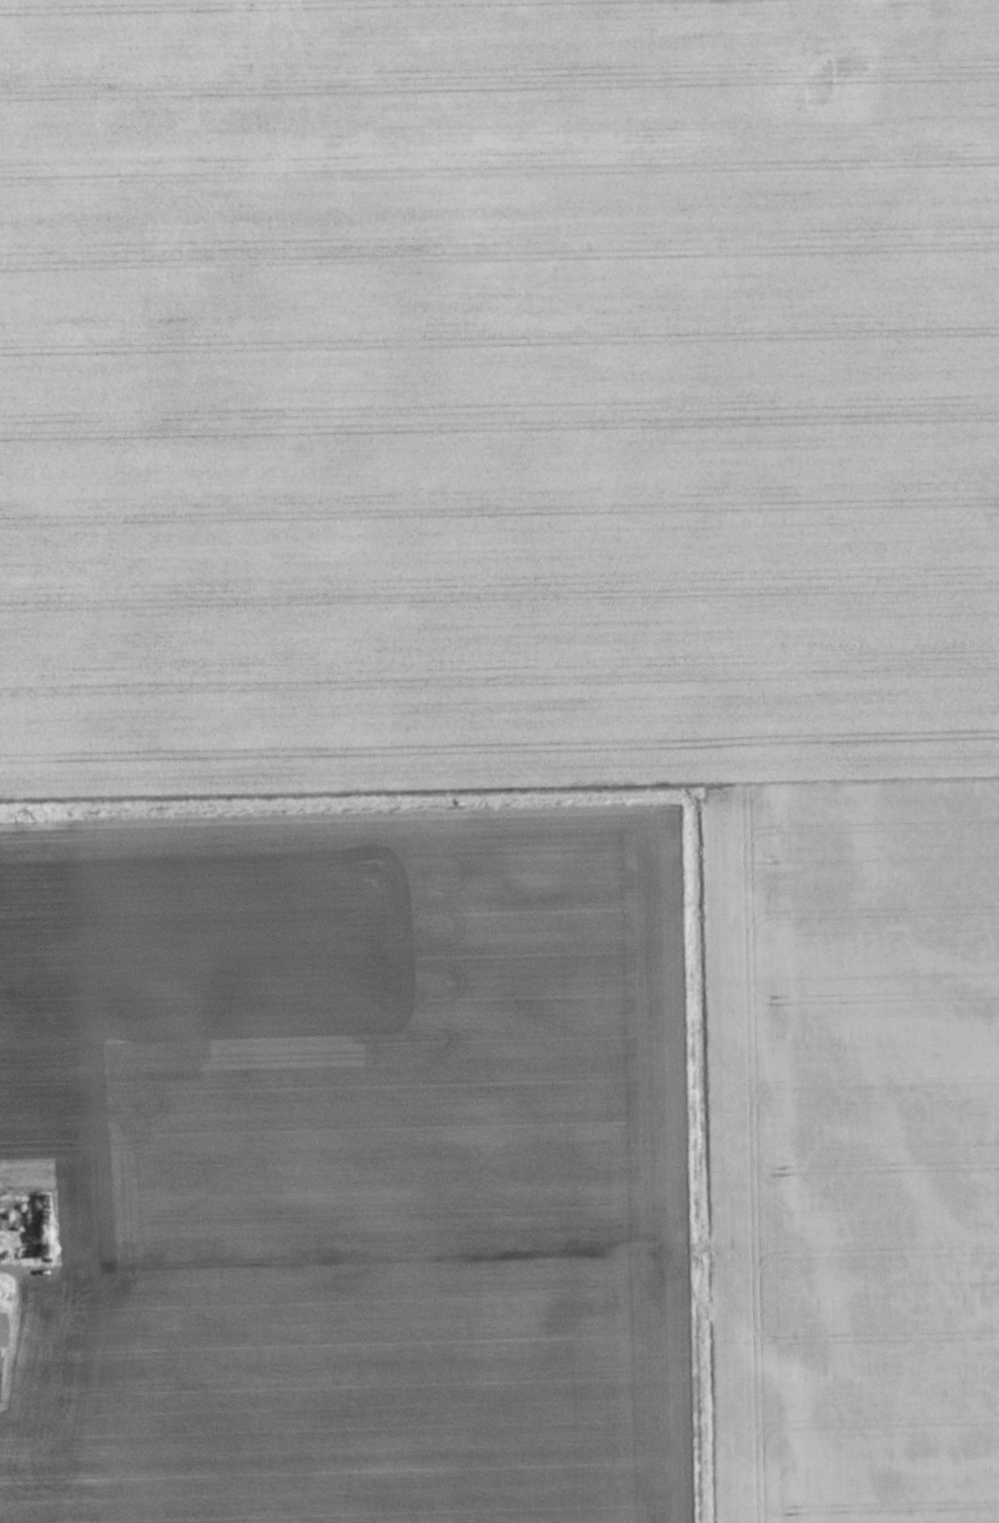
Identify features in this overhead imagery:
building: (1, 1329)

